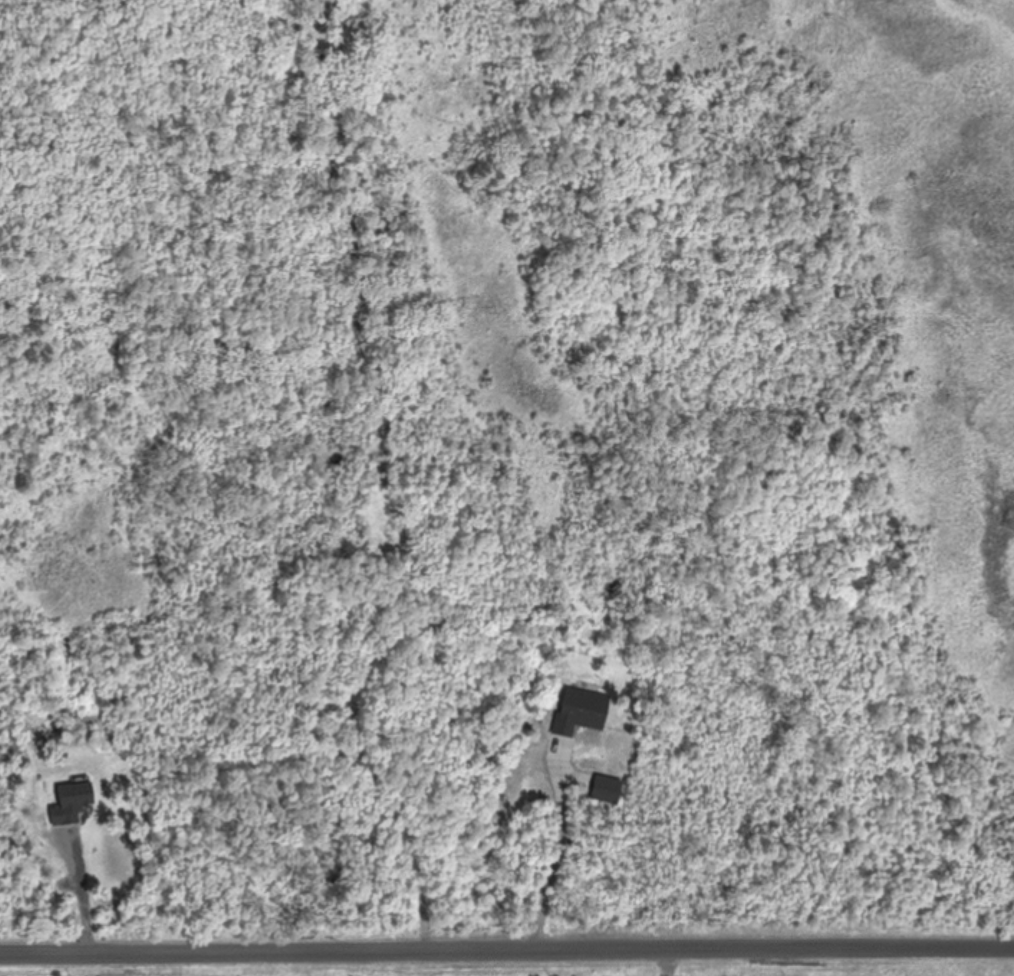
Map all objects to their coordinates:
building: (581, 712)
building: (71, 805)
road: (550, 863)
road: (507, 959)

